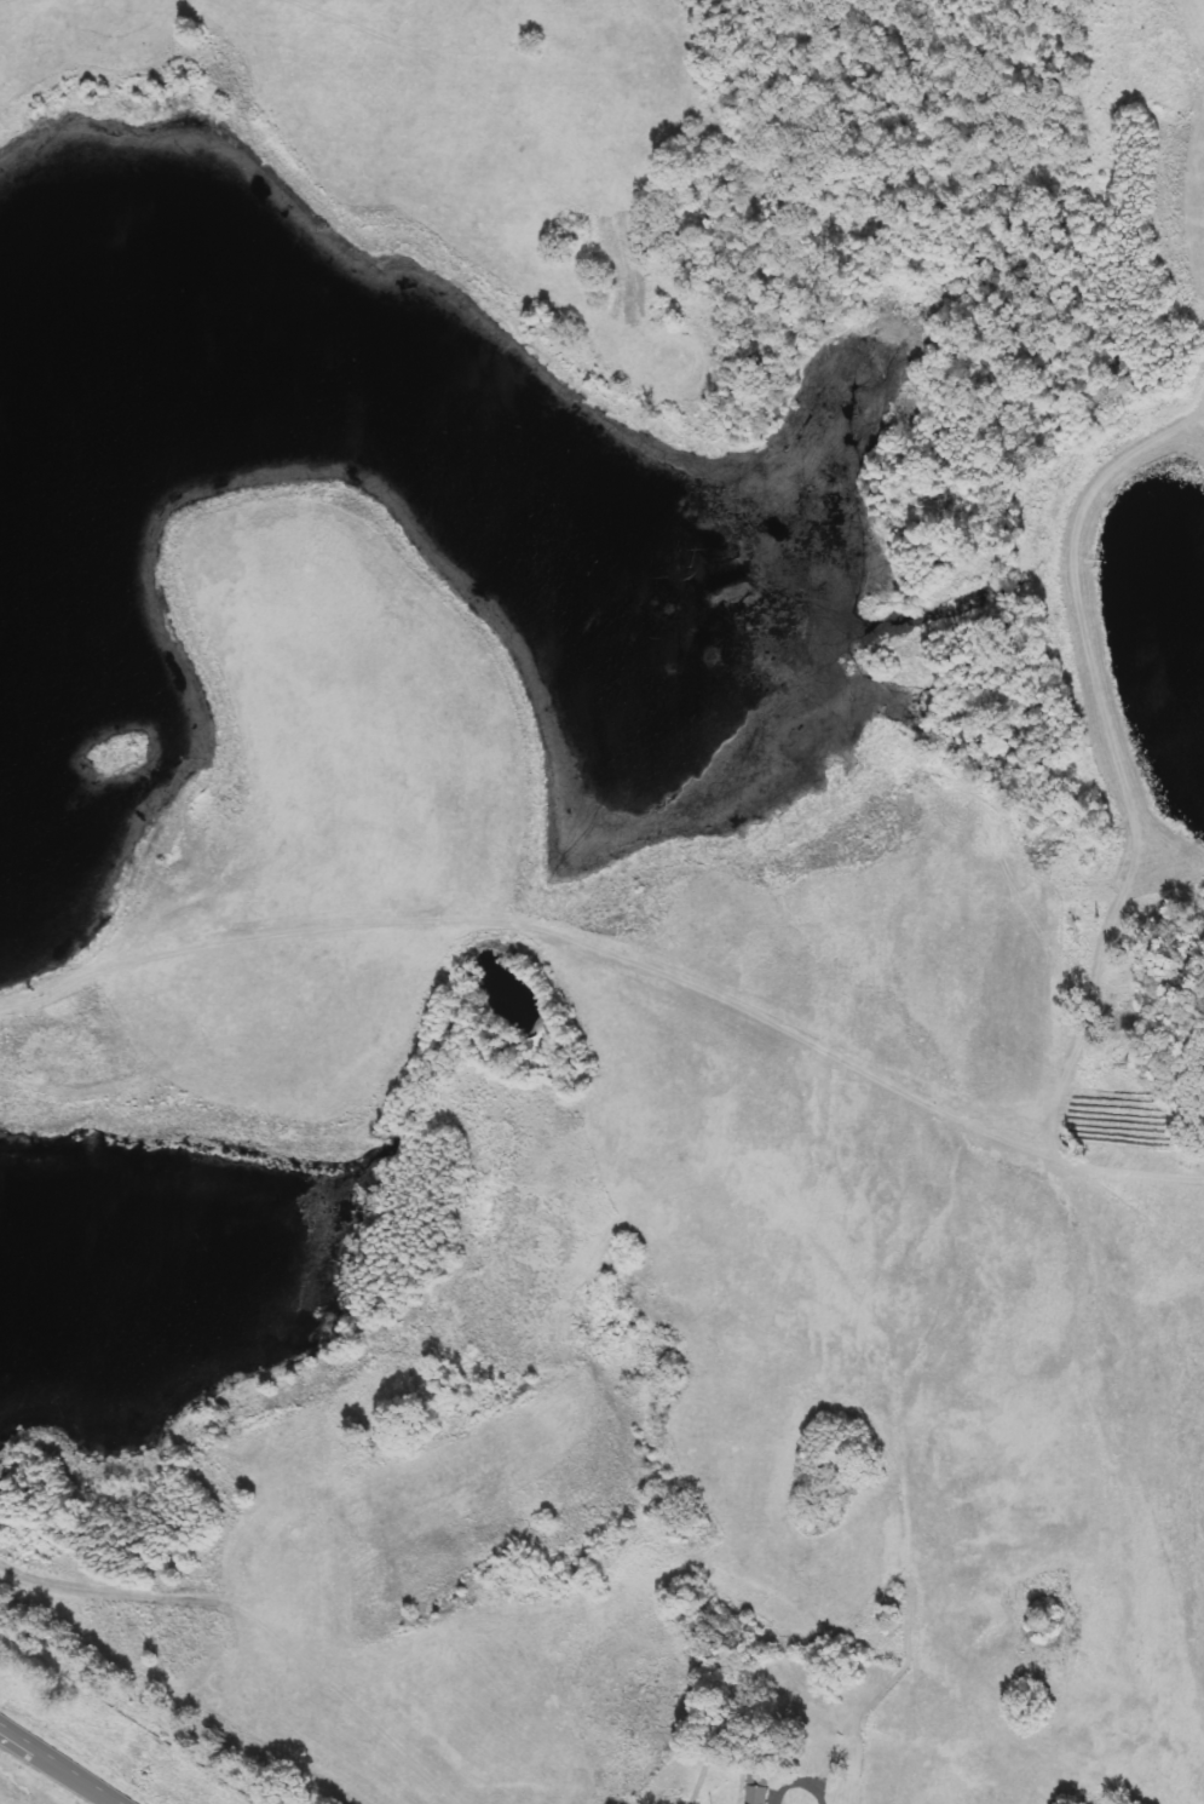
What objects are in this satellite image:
road: (56, 1766)
building: (756, 1791)

